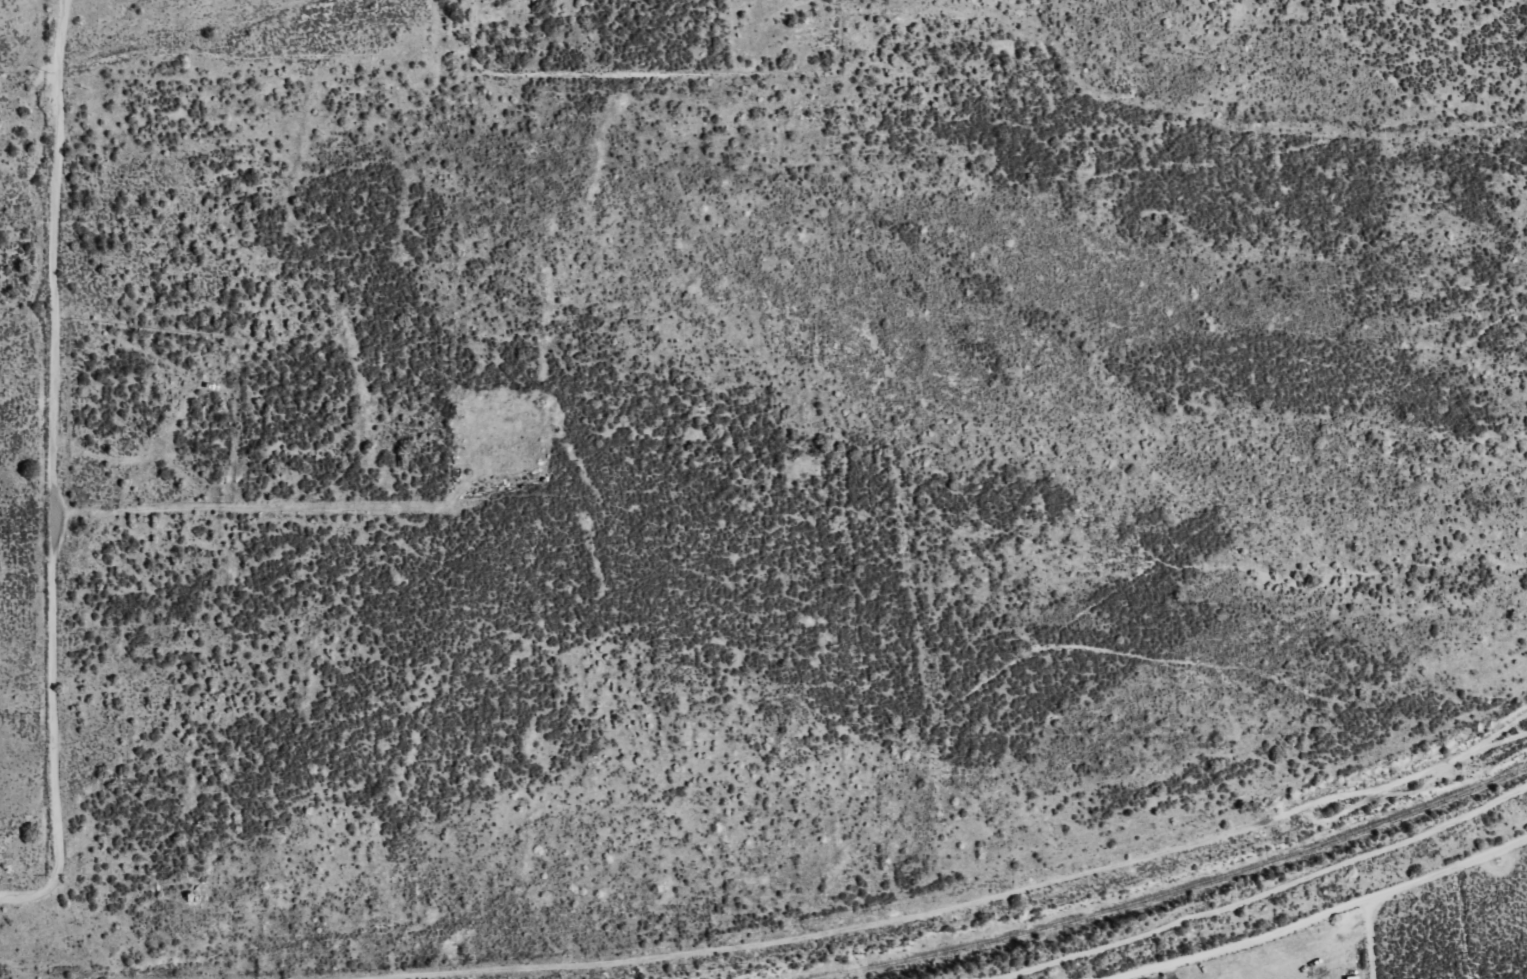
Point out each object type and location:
road: (52, 455)
railway: (1175, 887)
road: (1322, 915)

